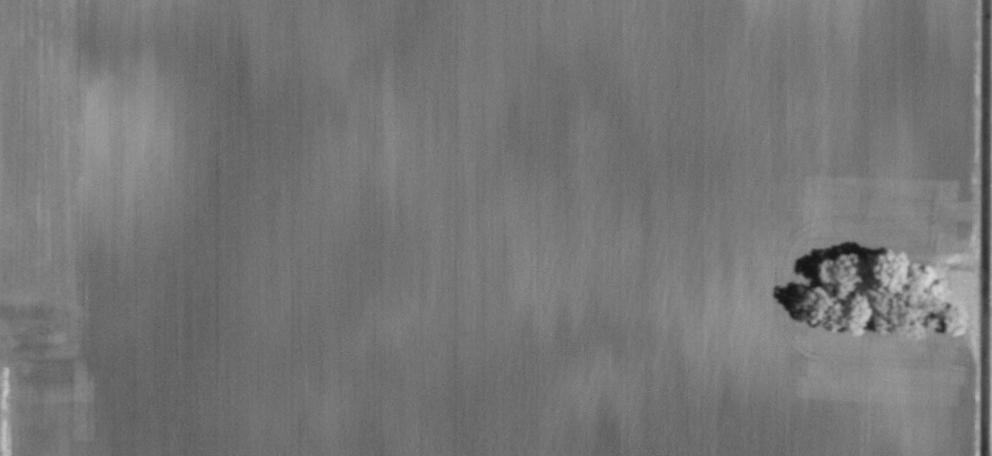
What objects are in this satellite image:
road: (981, 228)

